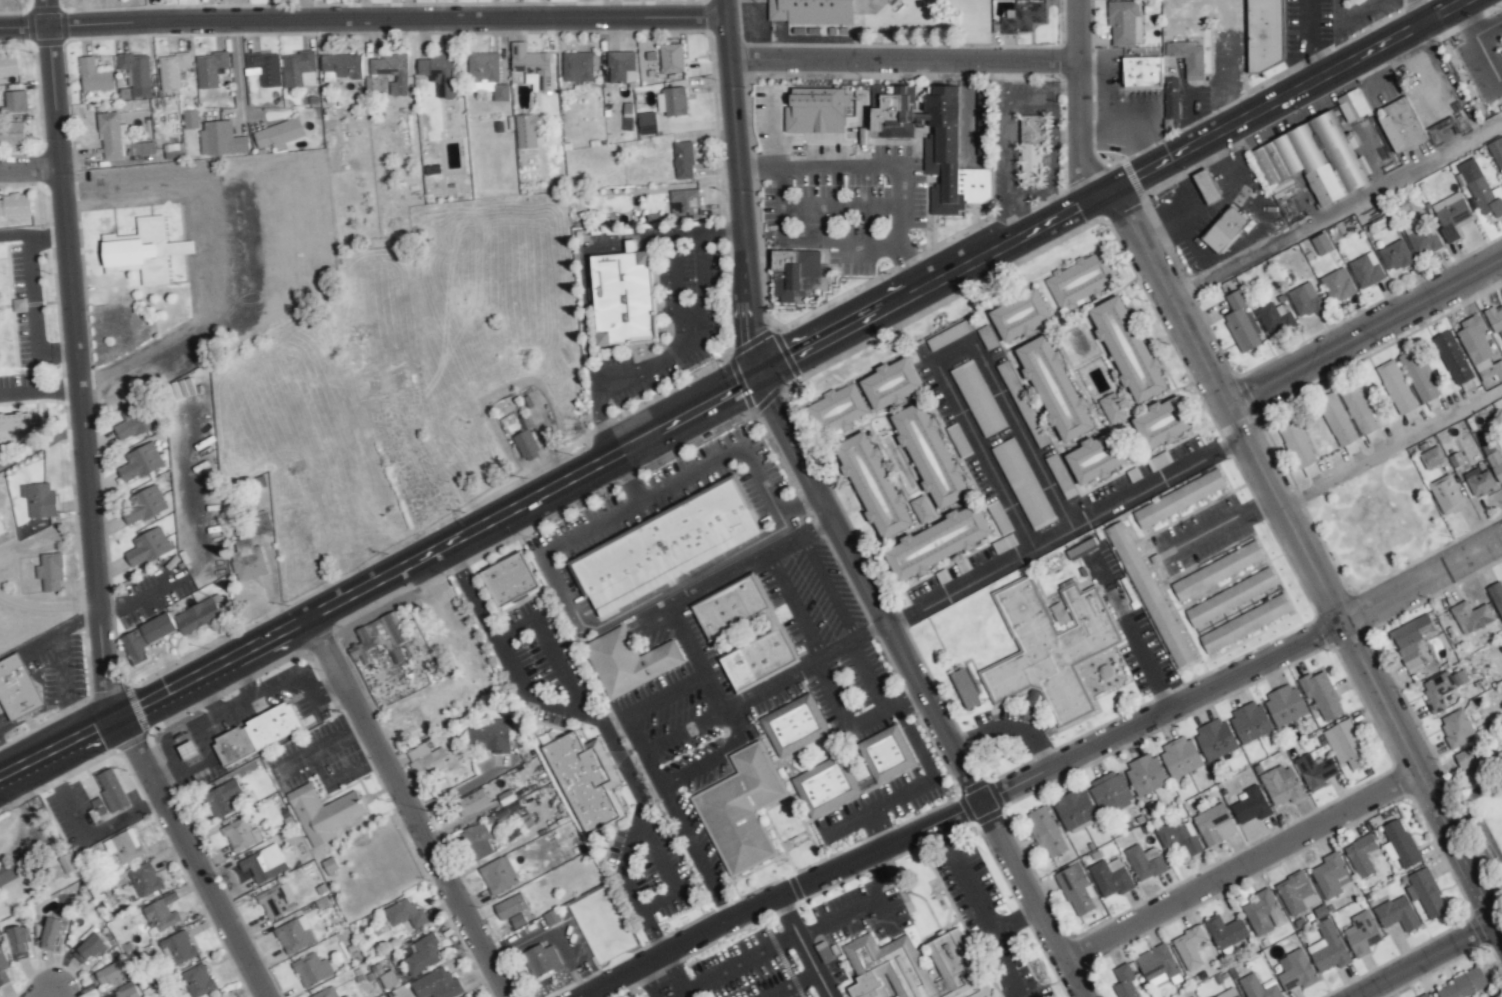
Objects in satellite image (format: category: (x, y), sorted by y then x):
road: (1338, 11)
road: (1361, 11)
building: (830, 12)
road: (1420, 14)
road: (362, 16)
building: (1024, 18)
building: (1124, 22)
building: (1265, 34)
road: (1308, 44)
road: (1340, 47)
building: (671, 58)
building: (1190, 59)
road: (903, 62)
building: (621, 64)
building: (8, 65)
building: (532, 65)
building: (577, 66)
building: (340, 67)
building: (265, 68)
building: (483, 68)
building: (209, 69)
road: (239, 69)
building: (298, 69)
building: (172, 70)
road: (973, 71)
building: (391, 72)
building: (439, 72)
building: (136, 73)
building: (1142, 73)
road: (1445, 73)
building: (94, 76)
road: (1062, 85)
building: (1171, 98)
road: (1019, 99)
building: (16, 101)
building: (674, 101)
road: (1079, 103)
building: (1352, 105)
building: (982, 108)
building: (816, 110)
building: (891, 112)
building: (190, 119)
road: (972, 121)
building: (647, 123)
building: (1401, 125)
building: (526, 131)
building: (12, 133)
building: (278, 133)
road: (1065, 135)
building: (112, 137)
building: (221, 139)
building: (1031, 148)
building: (1496, 152)
building: (949, 156)
building: (683, 160)
building: (1311, 160)
road: (881, 168)
road: (32, 174)
building: (1207, 186)
building: (1481, 189)
road: (739, 190)
building: (684, 202)
building: (15, 206)
road: (1336, 210)
building: (1450, 215)
road: (35, 231)
building: (1225, 231)
building: (1423, 241)
building: (1321, 244)
building: (141, 251)
building: (1395, 256)
road: (213, 260)
building: (1366, 270)
building: (793, 271)
building: (1079, 281)
building: (1337, 286)
road: (678, 289)
building: (624, 297)
building: (1305, 300)
building: (1020, 316)
building: (1274, 316)
road: (29, 319)
building: (1495, 319)
building: (1241, 323)
building: (953, 332)
road: (1364, 334)
road: (591, 346)
building: (1127, 349)
building: (1479, 352)
road: (953, 354)
building: (1452, 358)
road: (83, 360)
building: (1418, 375)
building: (890, 384)
building: (1054, 389)
road: (43, 391)
road: (737, 391)
building: (1398, 391)
building: (977, 398)
building: (841, 407)
building: (1112, 408)
building: (1359, 411)
building: (133, 423)
building: (508, 423)
building: (1163, 423)
road: (605, 424)
building: (1338, 425)
building: (16, 429)
building: (1296, 443)
building: (526, 444)
road: (1391, 449)
building: (928, 454)
building: (1432, 457)
building: (1095, 458)
building: (140, 462)
building: (1494, 463)
building: (1479, 482)
building: (1023, 484)
building: (873, 485)
building: (1446, 494)
building: (1179, 499)
building: (40, 500)
road: (797, 503)
building: (144, 505)
building: (922, 510)
building: (999, 518)
building: (262, 522)
road: (1222, 524)
building: (2, 528)
road: (1064, 530)
building: (937, 543)
building: (667, 547)
building: (147, 548)
road: (1308, 559)
building: (247, 560)
building: (1217, 571)
building: (50, 572)
building: (510, 580)
road: (667, 588)
building: (1149, 595)
road: (140, 596)
building: (1496, 597)
building: (1230, 598)
road: (47, 607)
building: (730, 607)
building: (197, 615)
building: (1471, 617)
building: (1245, 624)
road: (681, 632)
road: (1129, 633)
building: (379, 634)
building: (145, 639)
building: (1411, 641)
building: (1051, 646)
building: (757, 659)
building: (628, 661)
road: (239, 680)
building: (17, 688)
building: (964, 688)
road: (919, 689)
building: (1440, 689)
road: (718, 694)
road: (206, 696)
road: (904, 697)
building: (1322, 697)
road: (754, 699)
road: (233, 705)
building: (1284, 705)
road: (869, 716)
building: (1249, 722)
building: (793, 725)
road: (1007, 728)
building: (1455, 728)
road: (607, 731)
building: (257, 733)
building: (489, 735)
building: (549, 737)
building: (1215, 739)
building: (1345, 745)
building: (188, 750)
building: (885, 754)
building: (1179, 757)
building: (425, 760)
building: (1477, 764)
building: (1314, 771)
road: (1038, 772)
building: (1146, 774)
building: (585, 780)
building: (1282, 785)
building: (826, 786)
road: (917, 788)
building: (111, 790)
road: (456, 791)
building: (1109, 792)
building: (223, 799)
building: (472, 802)
building: (1251, 806)
road: (408, 808)
building: (742, 810)
building: (1074, 811)
building: (323, 813)
building: (1214, 825)
road: (878, 827)
road: (100, 828)
building: (1045, 832)
building: (239, 835)
building: (1179, 836)
building: (478, 841)
building: (1401, 843)
building: (125, 846)
road: (695, 851)
building: (1361, 855)
road: (622, 857)
road: (192, 858)
building: (1144, 863)
building: (260, 865)
road: (1242, 866)
building: (11, 870)
road: (877, 871)
building: (498, 875)
building: (1331, 876)
building: (1110, 877)
building: (144, 879)
building: (1076, 890)
building: (1427, 893)
building: (1296, 894)
building: (276, 901)
building: (512, 909)
building: (161, 913)
road: (786, 913)
building: (1263, 913)
building: (405, 914)
road: (834, 914)
building: (1397, 914)
building: (1225, 933)
building: (49, 934)
building: (1361, 934)
building: (294, 935)
building: (18, 943)
parking lot: (789, 946)
building: (88, 948)
building: (178, 948)
building: (1189, 948)
building: (1328, 949)
building: (422, 955)
road: (1428, 959)
building: (541, 960)
road: (739, 962)
building: (1157, 965)
building: (2, 966)
building: (914, 968)
building: (311, 970)
building: (1296, 971)
road: (673, 973)
building: (107, 975)
building: (388, 979)
road: (644, 980)
building: (197, 981)
building: (1124, 983)
building: (437, 985)
building: (1463, 985)
building: (1258, 987)
road: (46, 991)
building: (124, 992)
building: (327, 993)
building: (1228, 993)
building: (230, 995)
building: (345, 996)
building: (466, 996)
building: (1426, 996)

